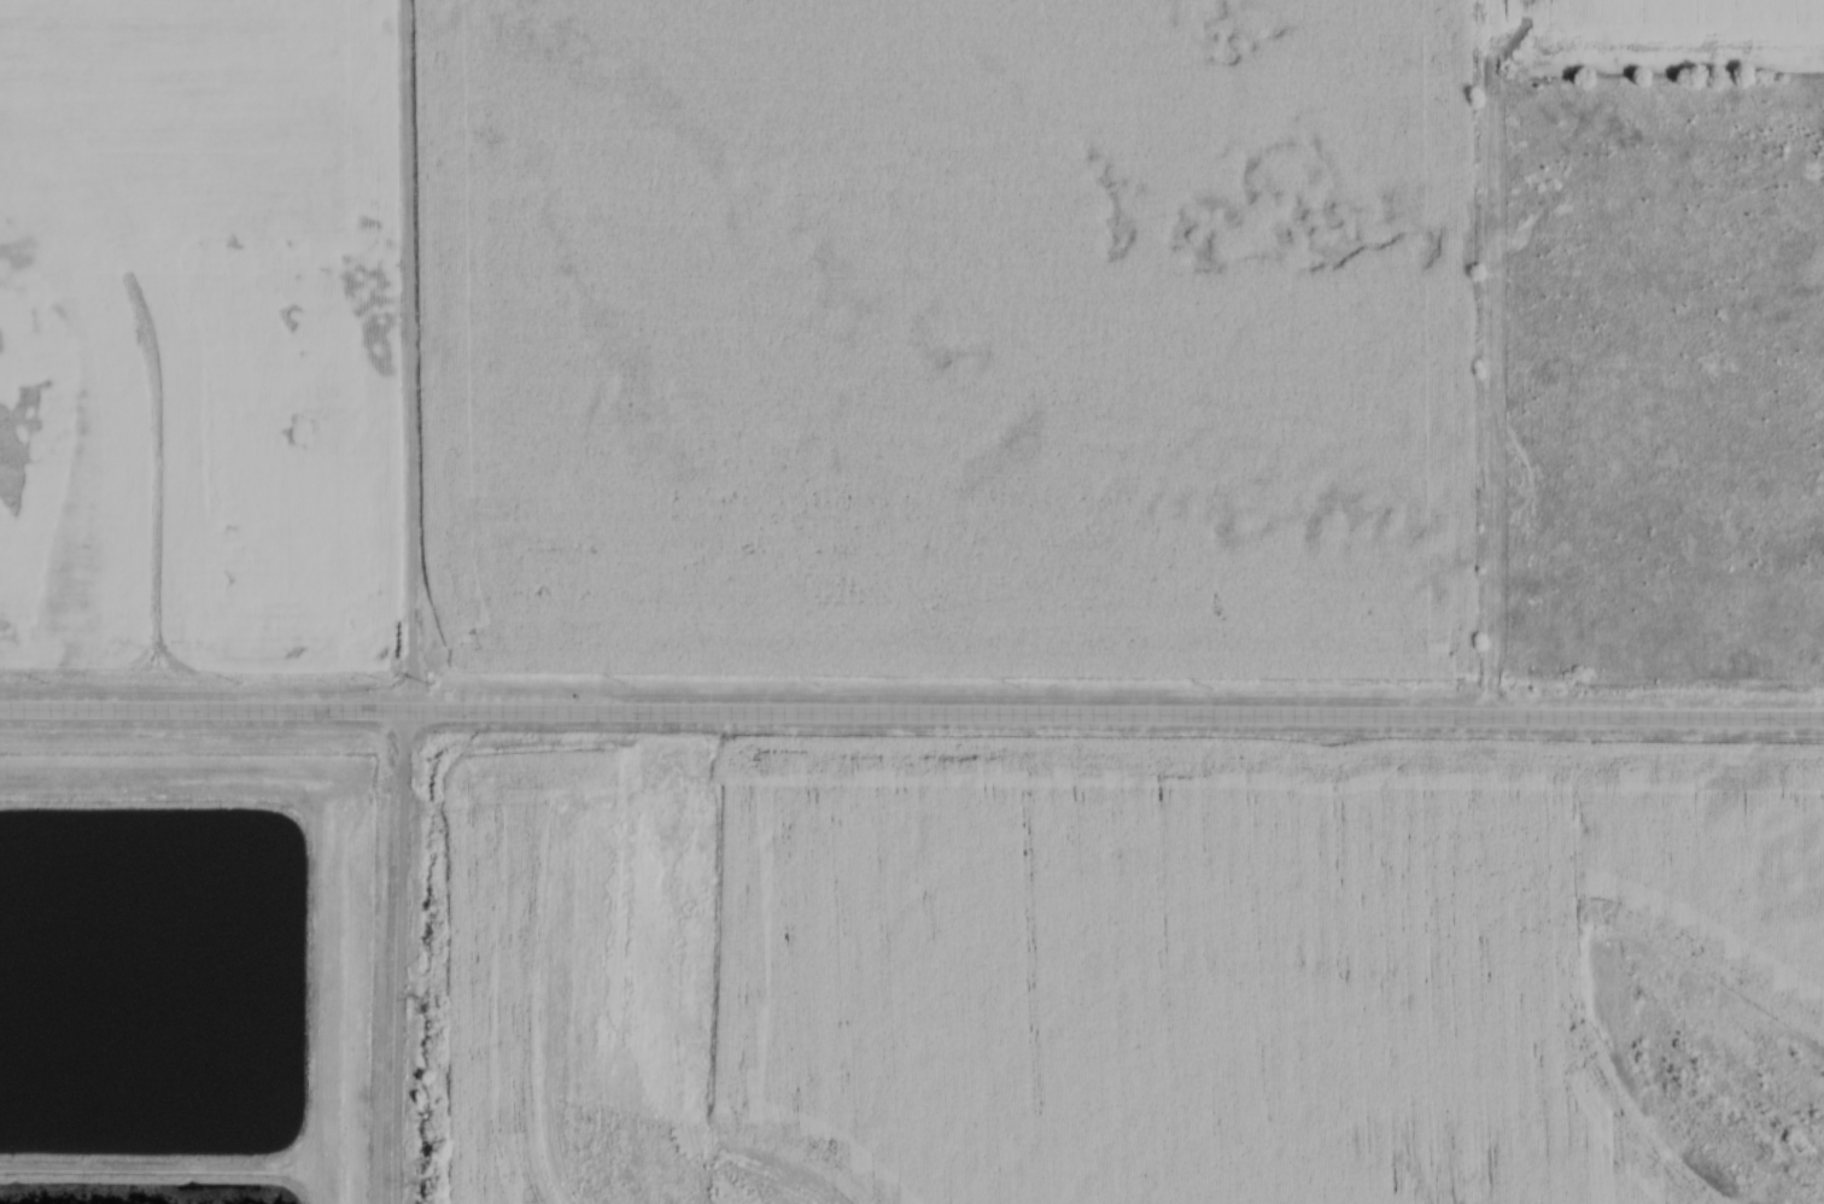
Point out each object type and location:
road: (409, 353)
road: (912, 713)
road: (404, 957)

